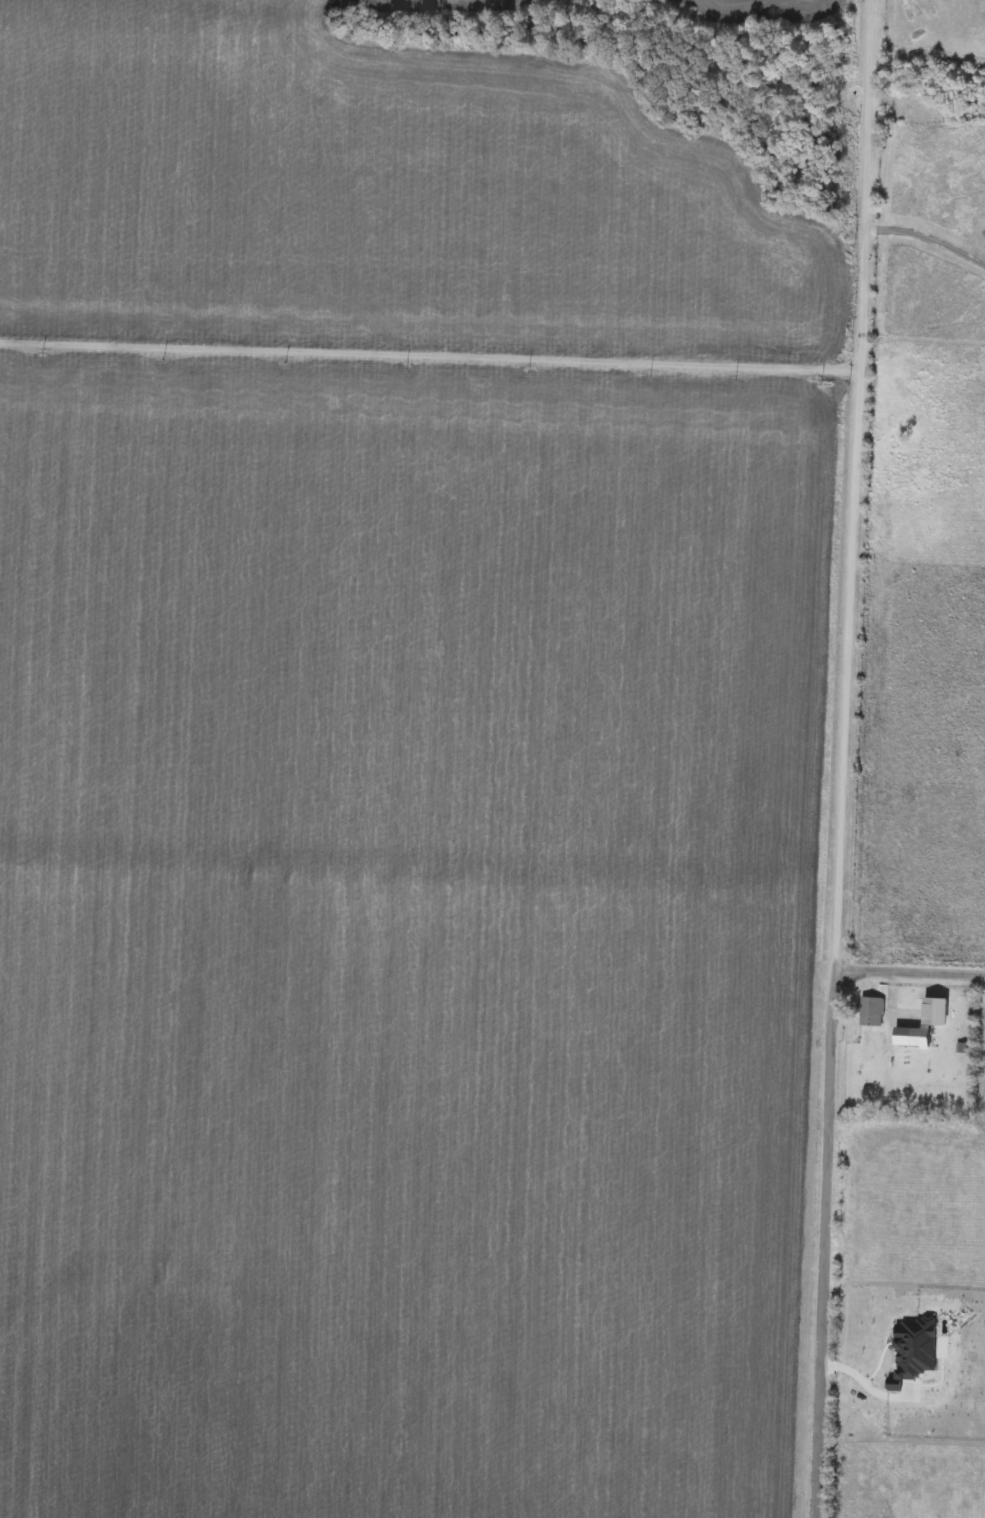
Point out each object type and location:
road: (922, 227)
road: (425, 356)
road: (838, 759)
road: (908, 970)
building: (872, 1013)
building: (912, 1038)
road: (862, 1391)

